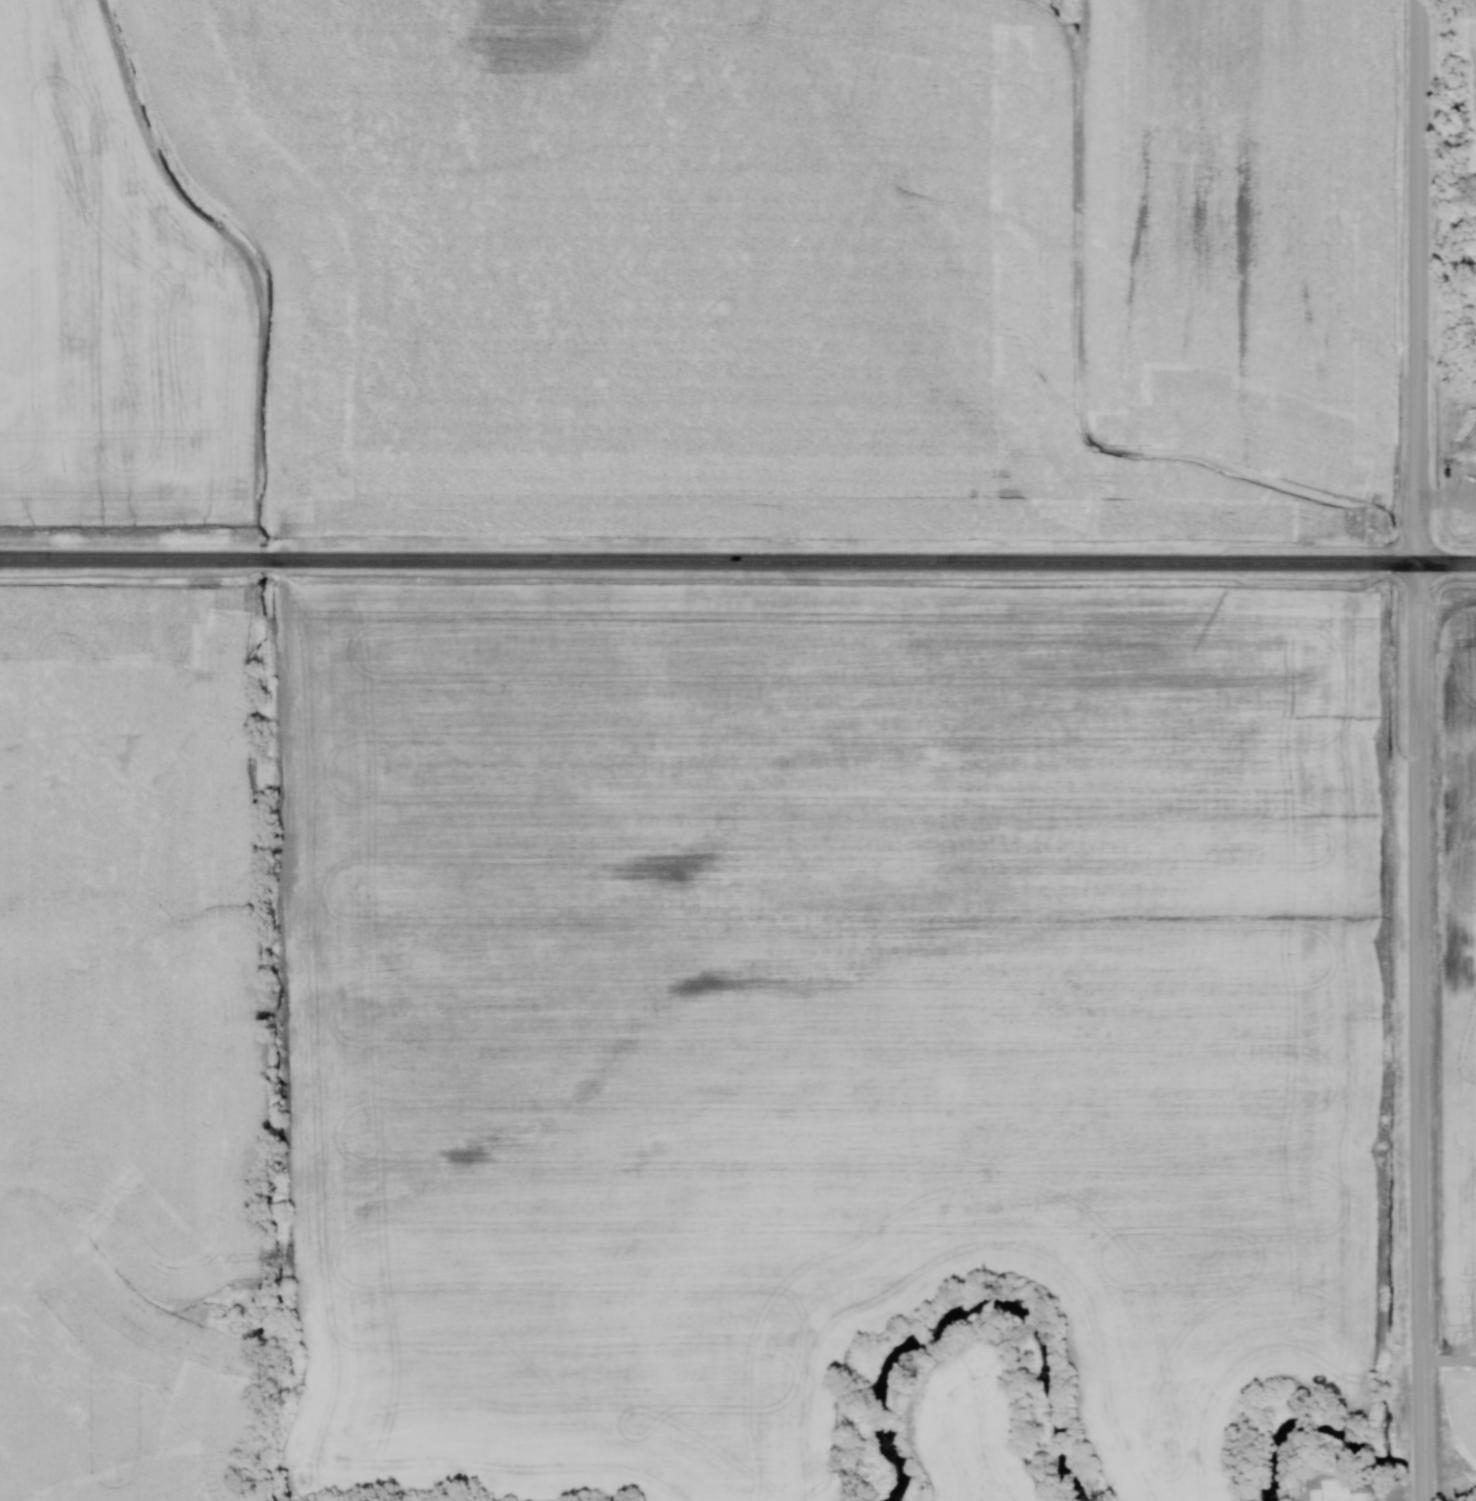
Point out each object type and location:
road: (737, 560)
road: (1416, 750)
river: (979, 1318)
road: (1446, 1362)
river: (1301, 1430)
river: (1416, 1480)
river: (1452, 1500)

